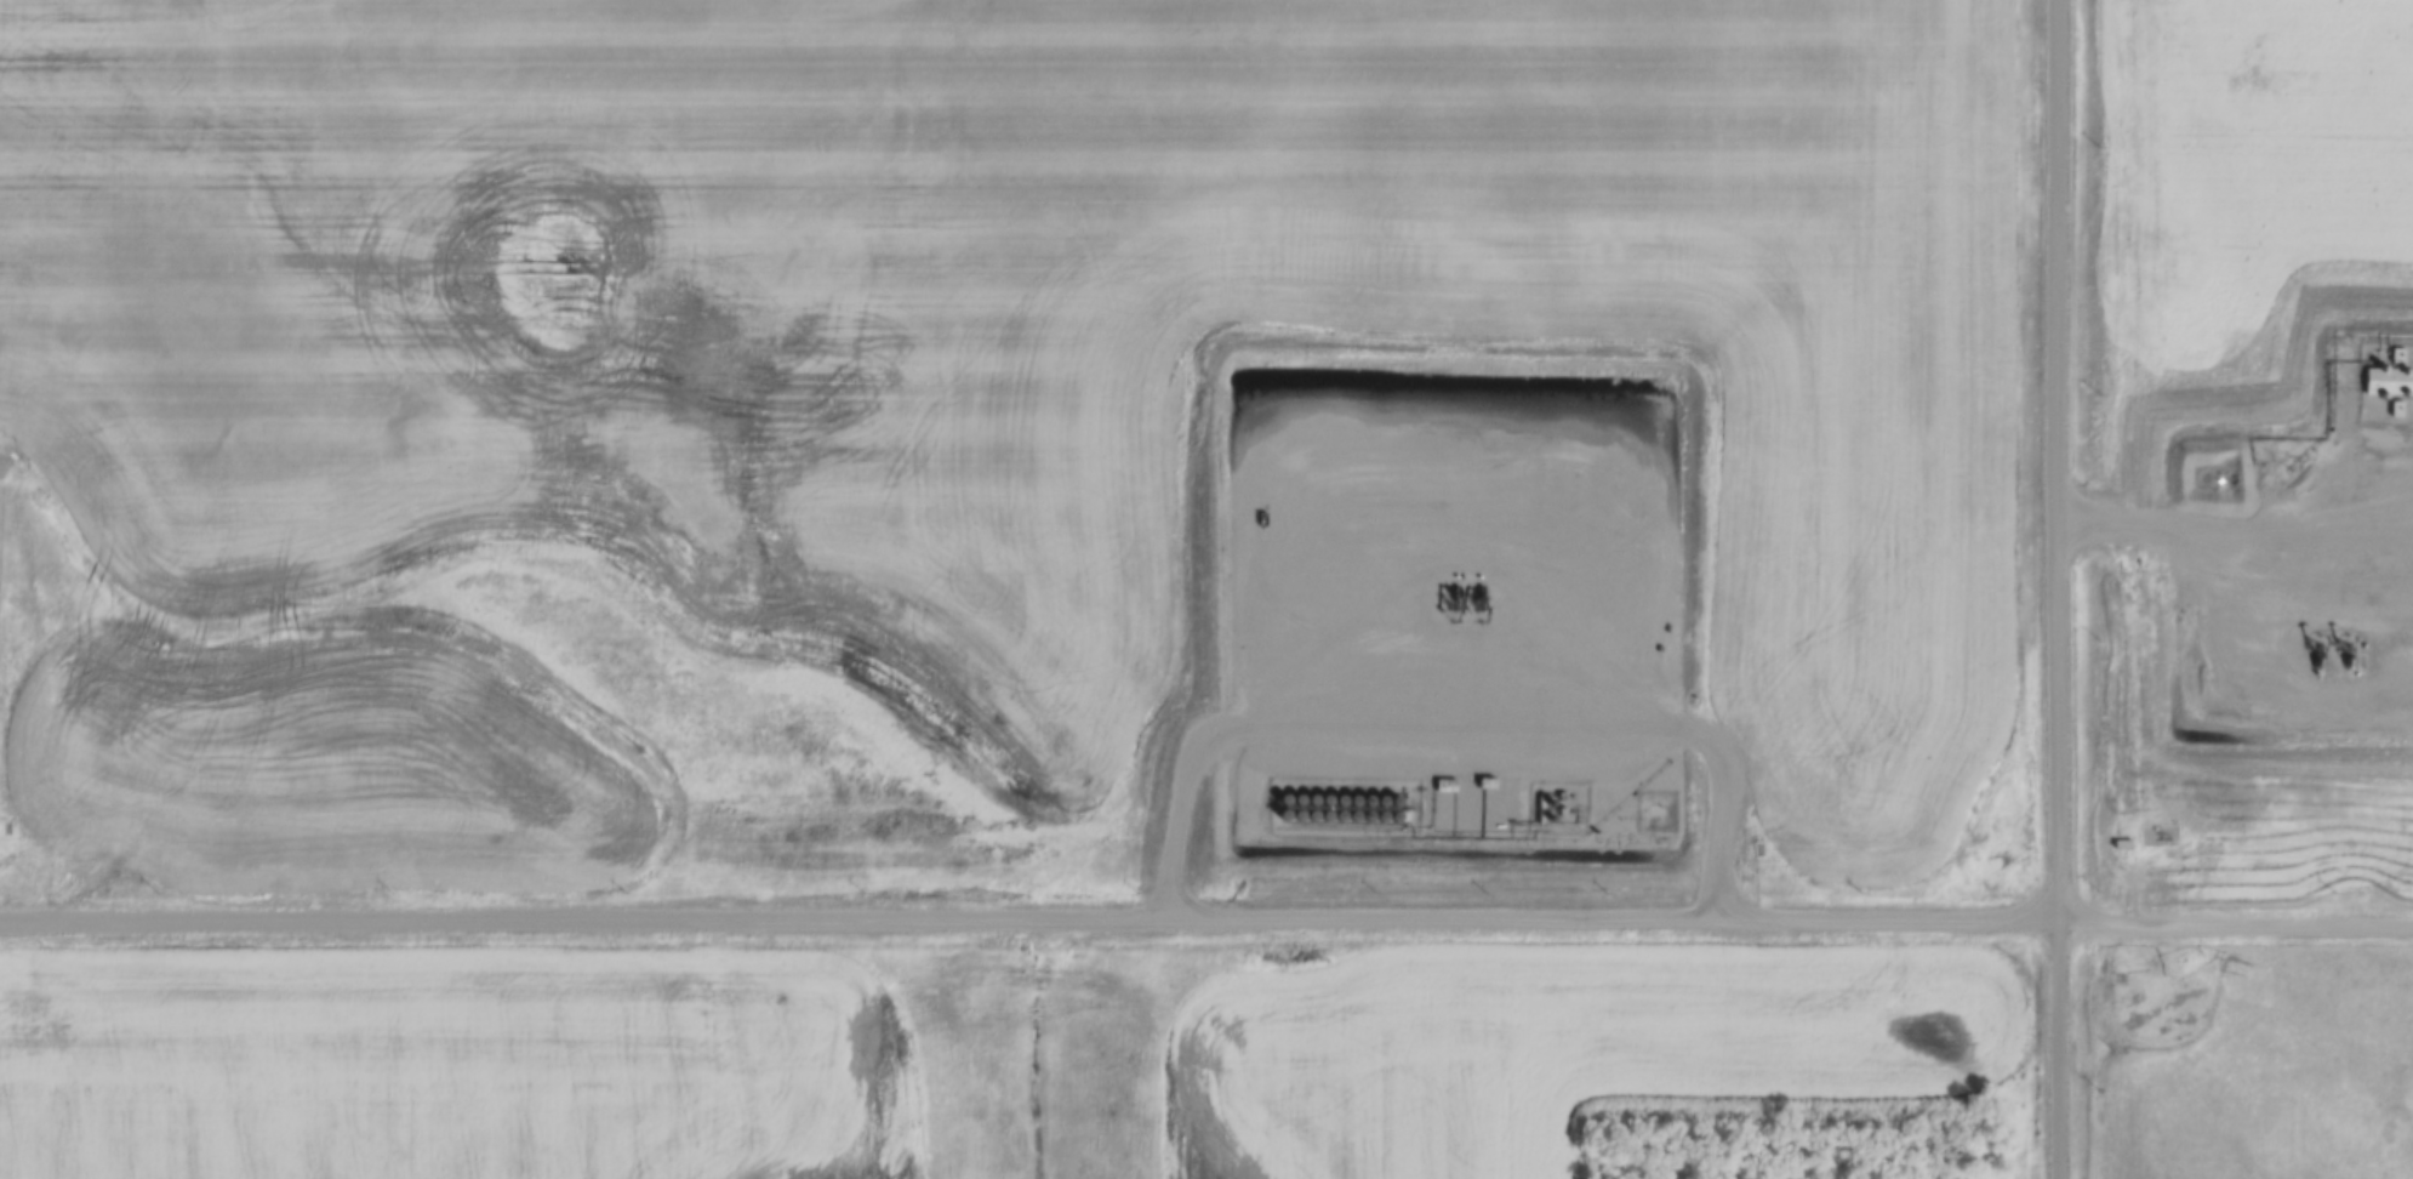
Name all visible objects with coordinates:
road: (2059, 458)
road: (1206, 916)
road: (2059, 1048)

